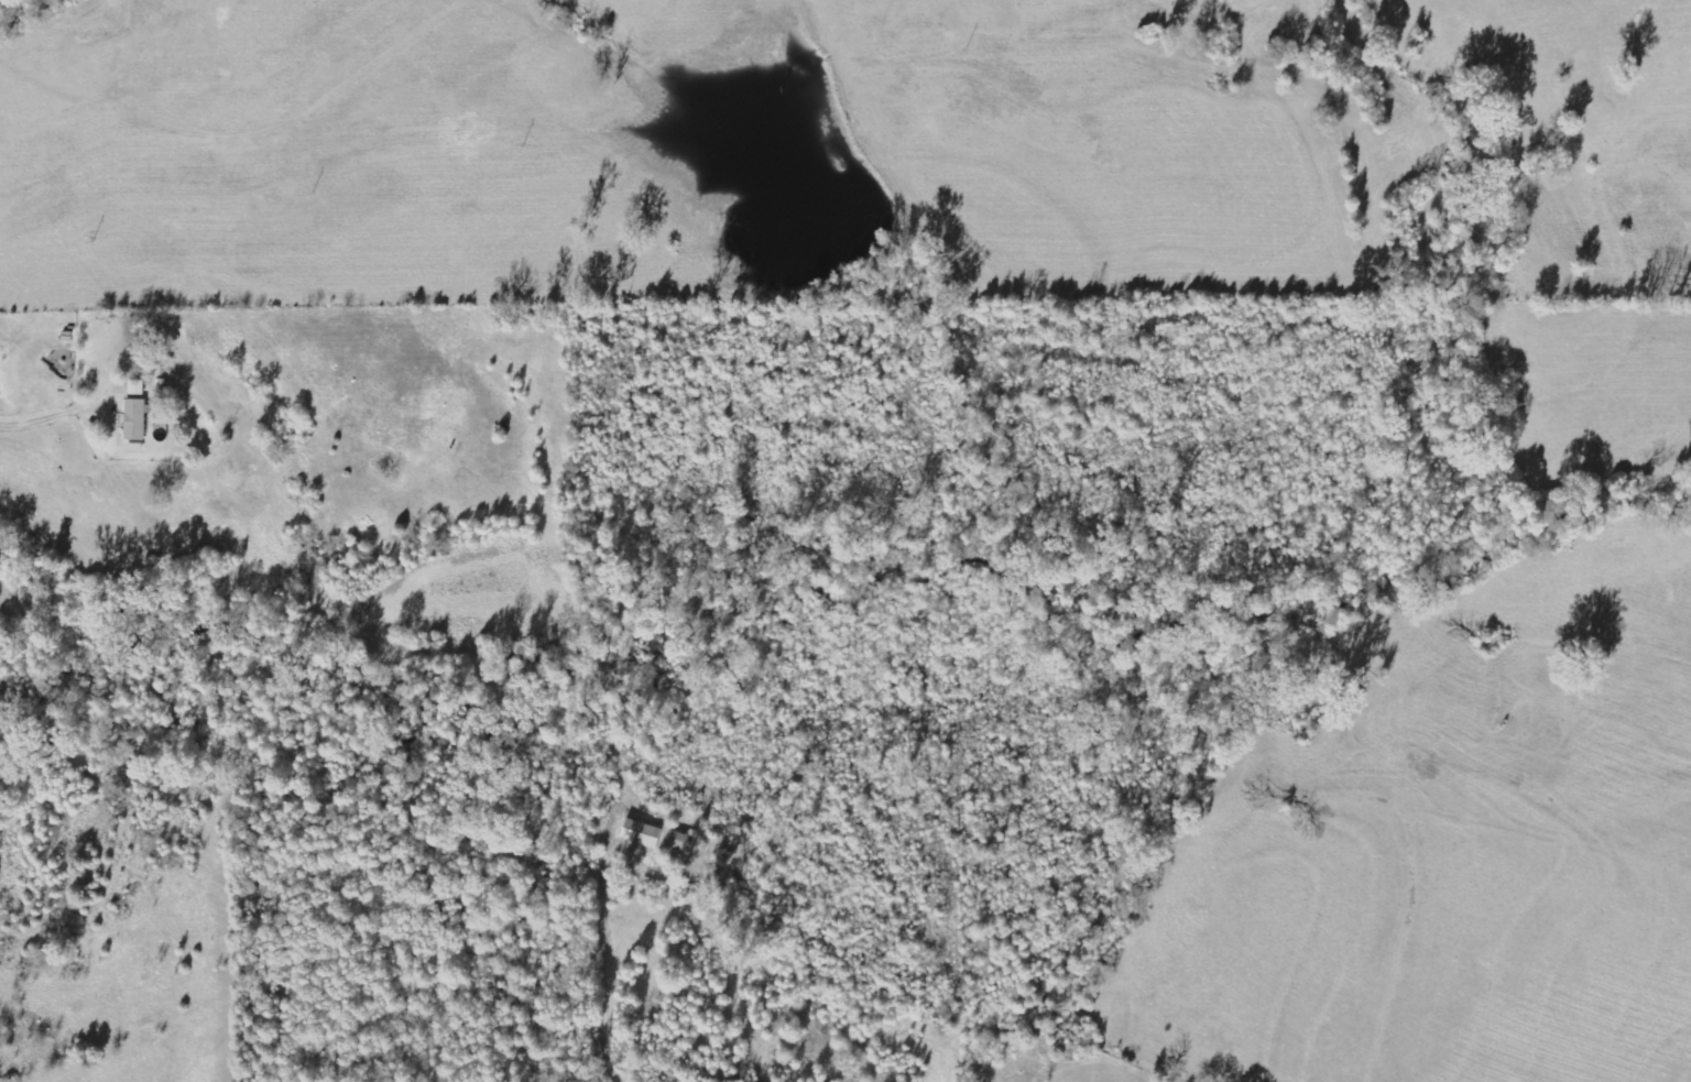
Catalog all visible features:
building: (138, 389)
building: (137, 420)

